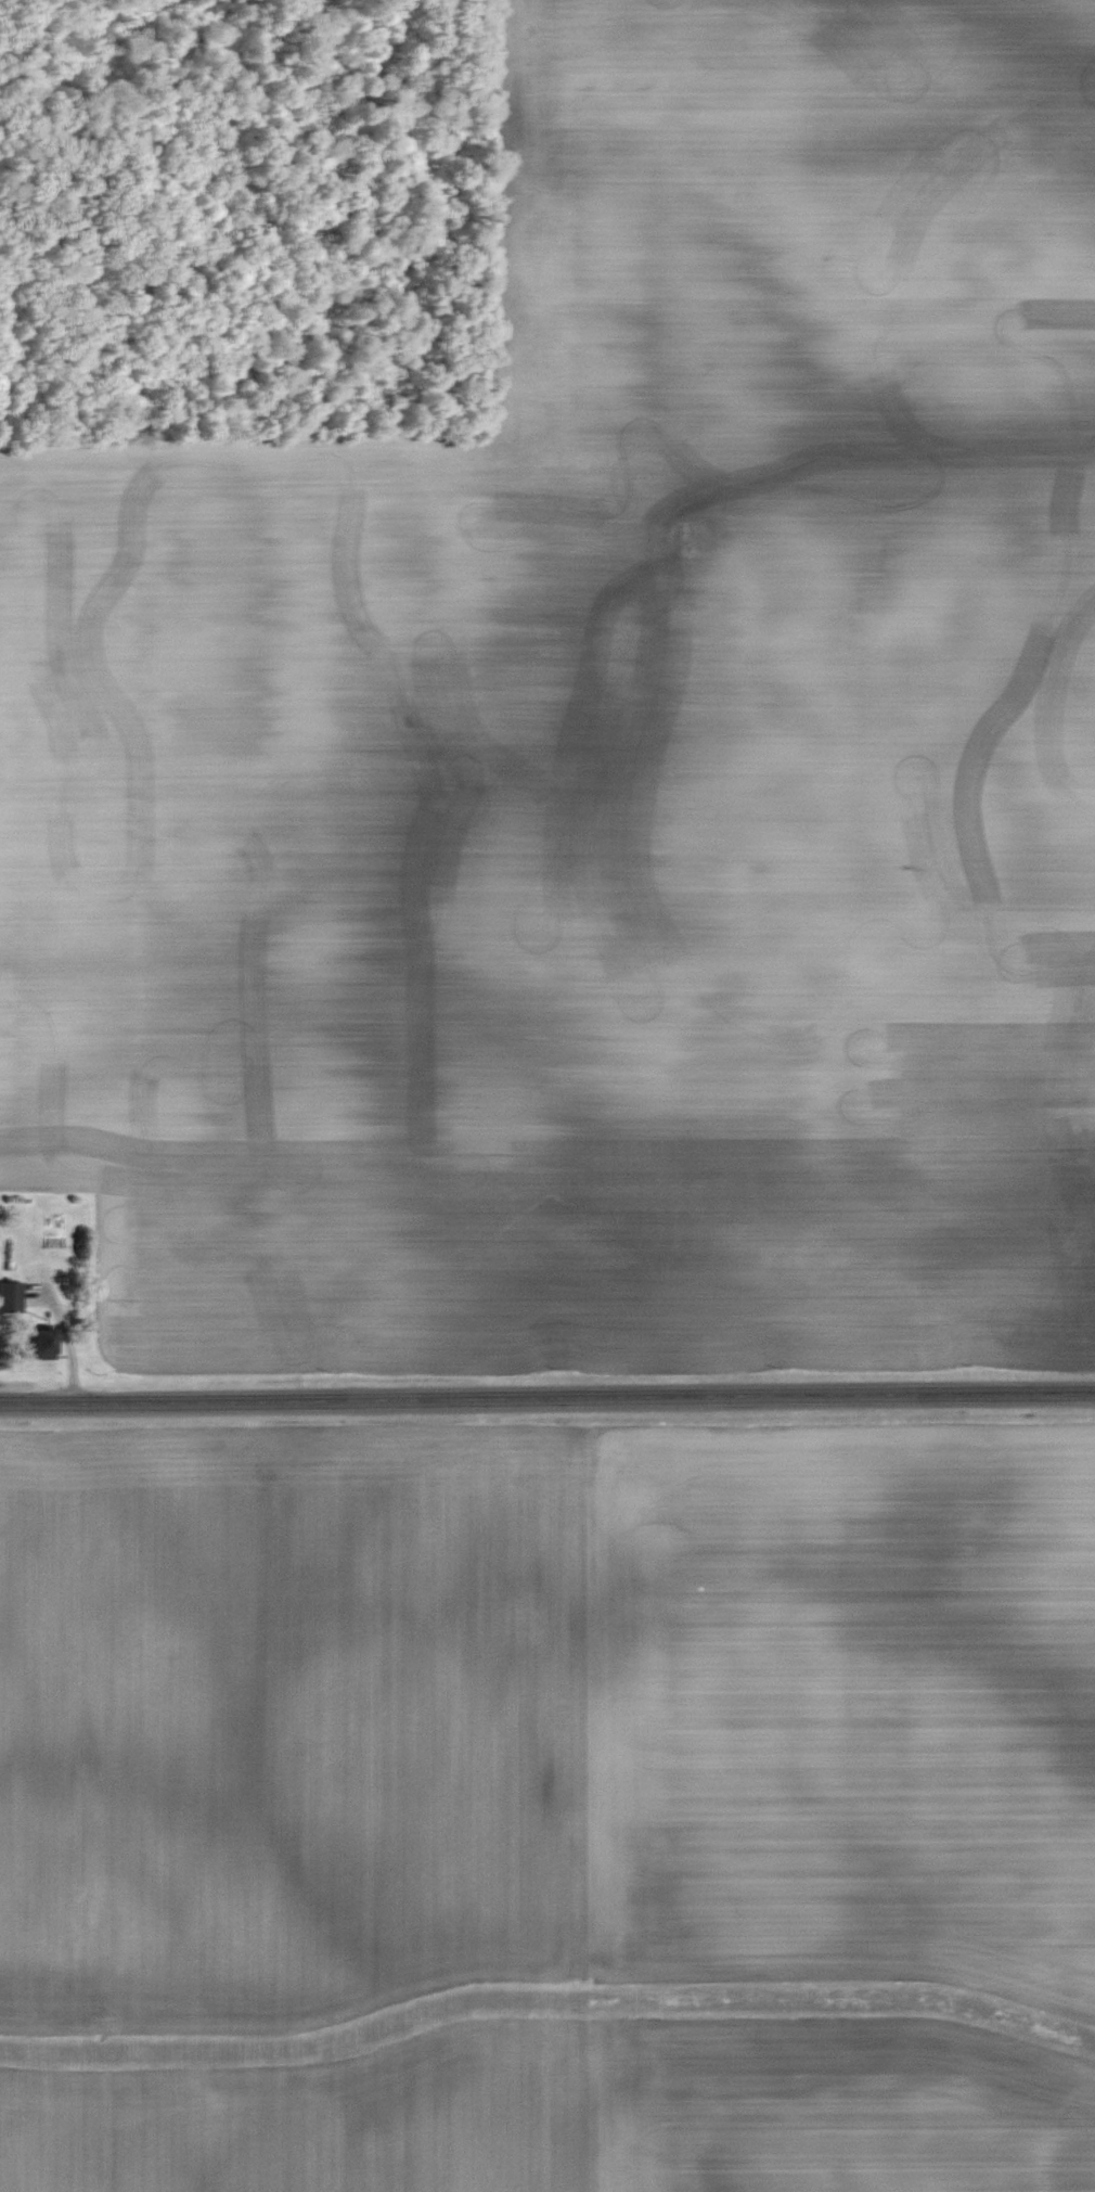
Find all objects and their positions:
building: (11, 1296)
building: (42, 1343)
road: (547, 1400)

